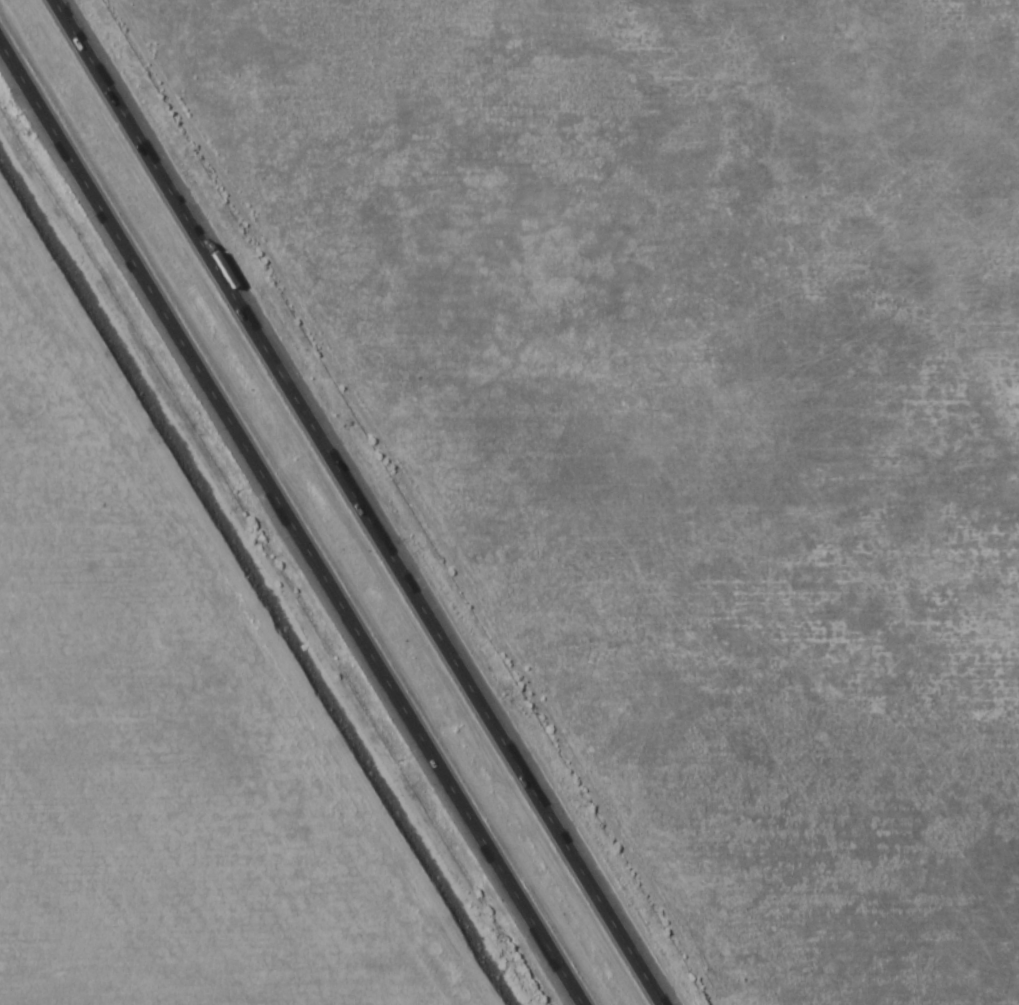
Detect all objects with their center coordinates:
road: (362, 502)
road: (292, 521)

